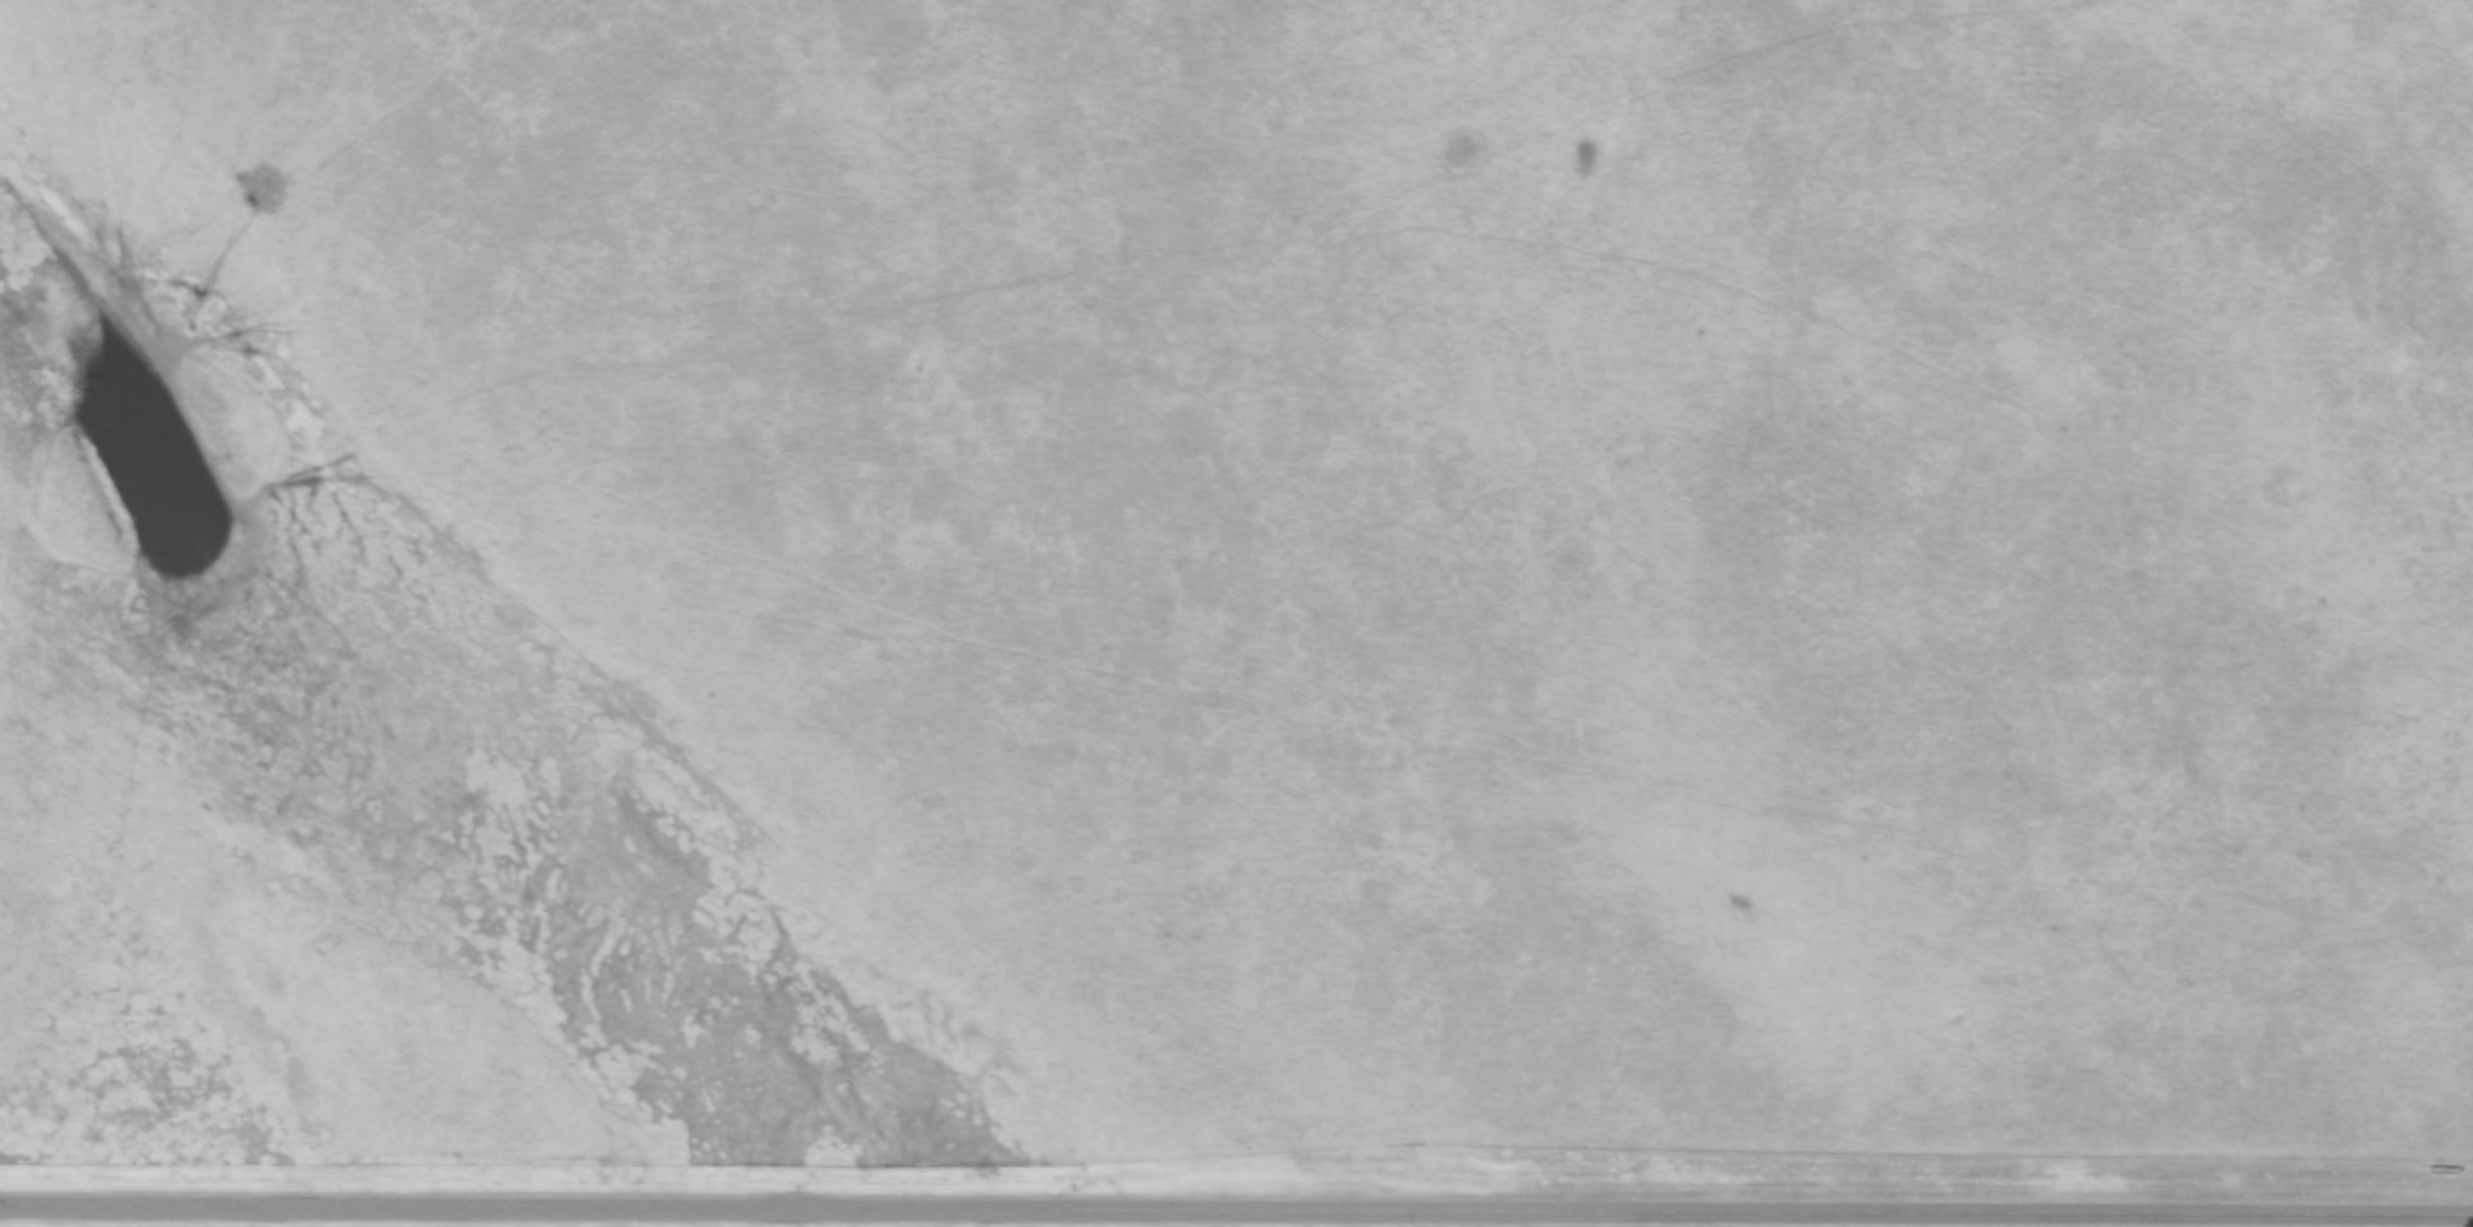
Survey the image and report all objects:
road: (1236, 1209)

